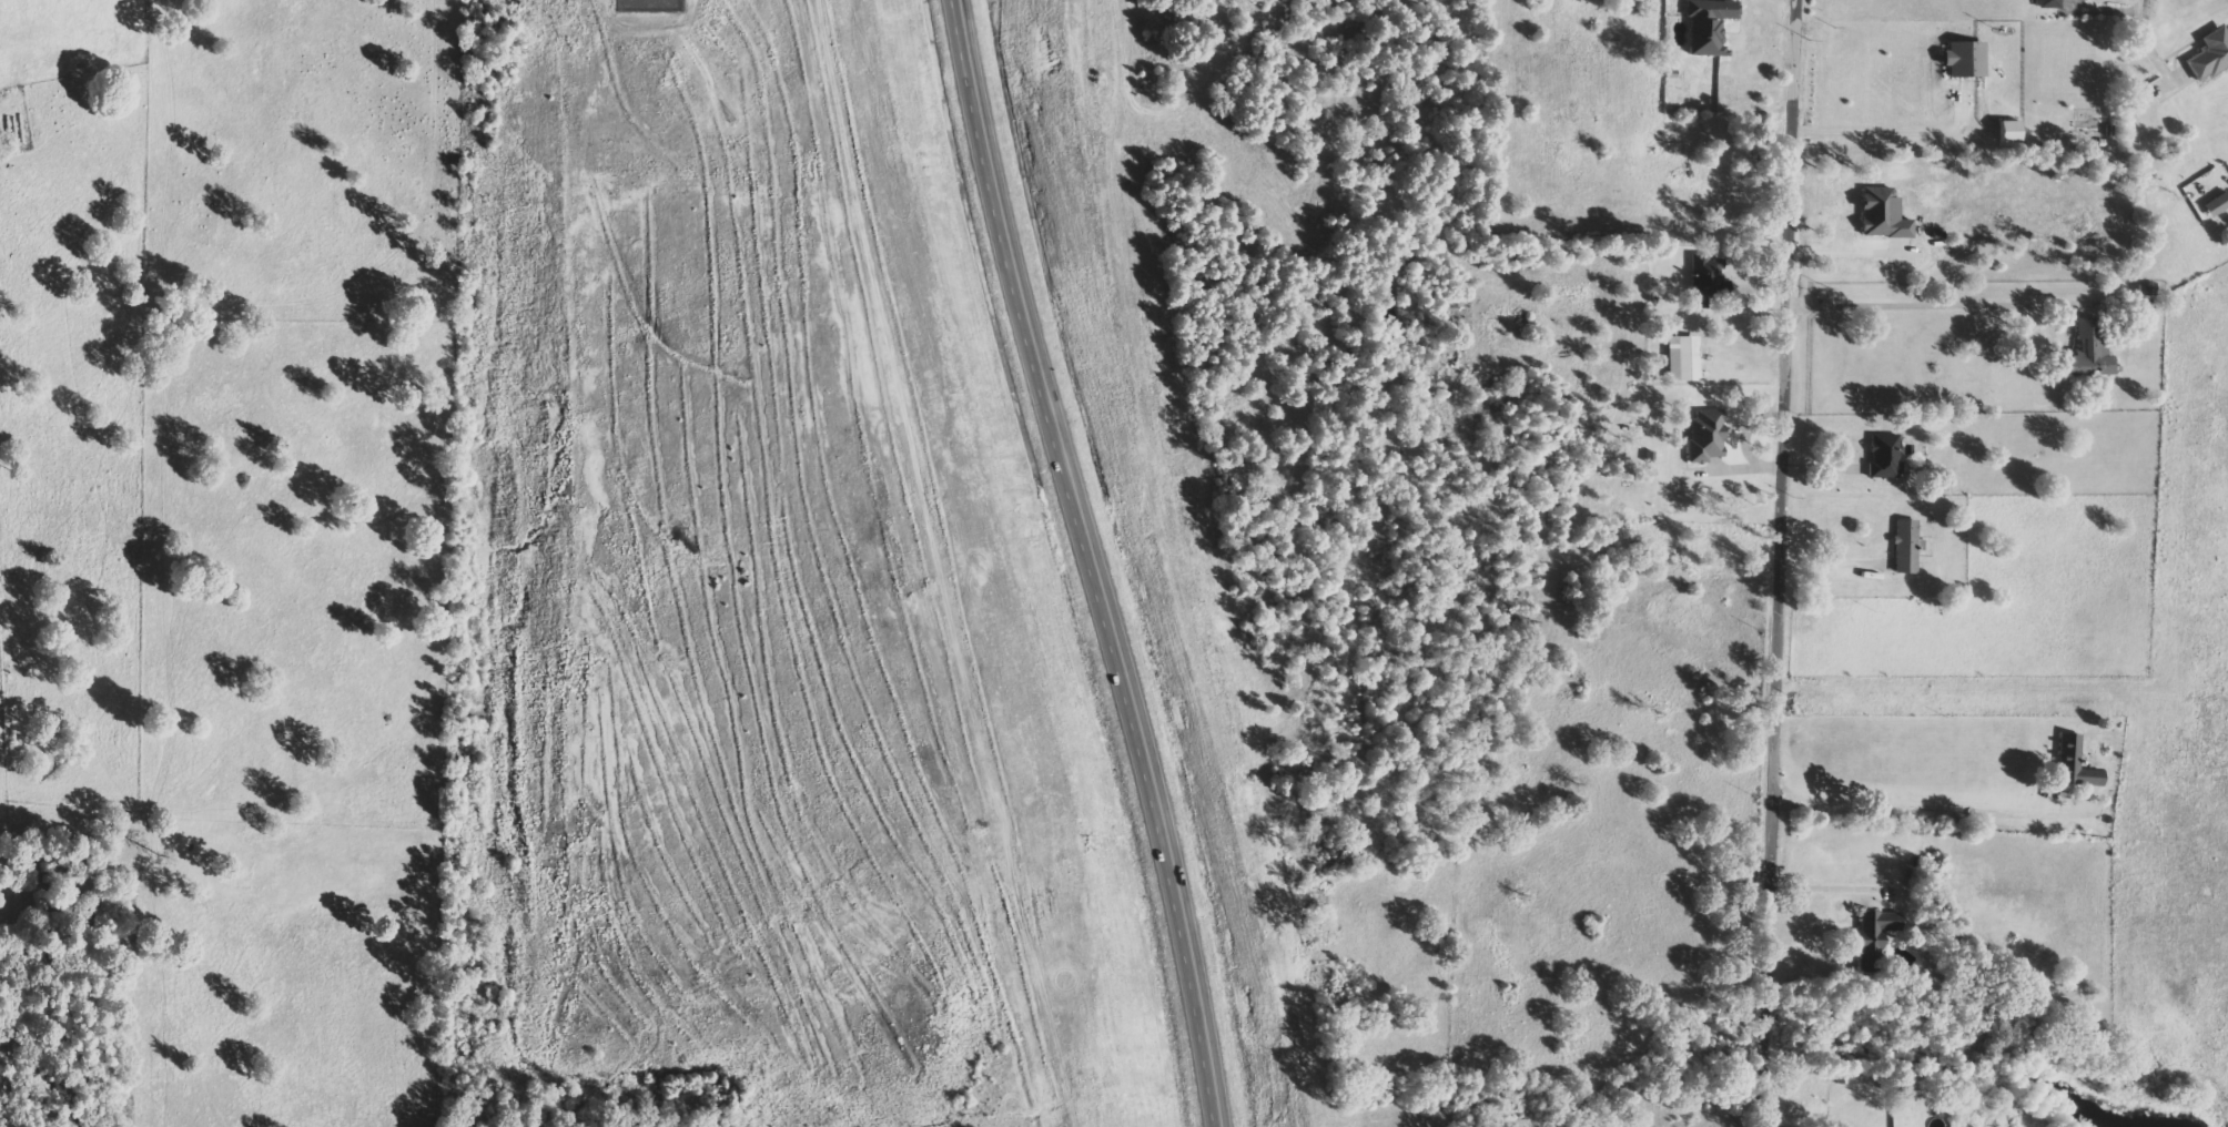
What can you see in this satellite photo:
building: (2047, 3)
road: (958, 7)
road: (2148, 9)
building: (1708, 26)
building: (2209, 55)
building: (1964, 59)
building: (2008, 133)
building: (2216, 204)
building: (1882, 214)
building: (1705, 282)
building: (2145, 290)
building: (2089, 351)
building: (1682, 358)
building: (1704, 436)
building: (1884, 455)
building: (1905, 547)
road: (1788, 563)
road: (1091, 570)
building: (2074, 764)
building: (1872, 935)

